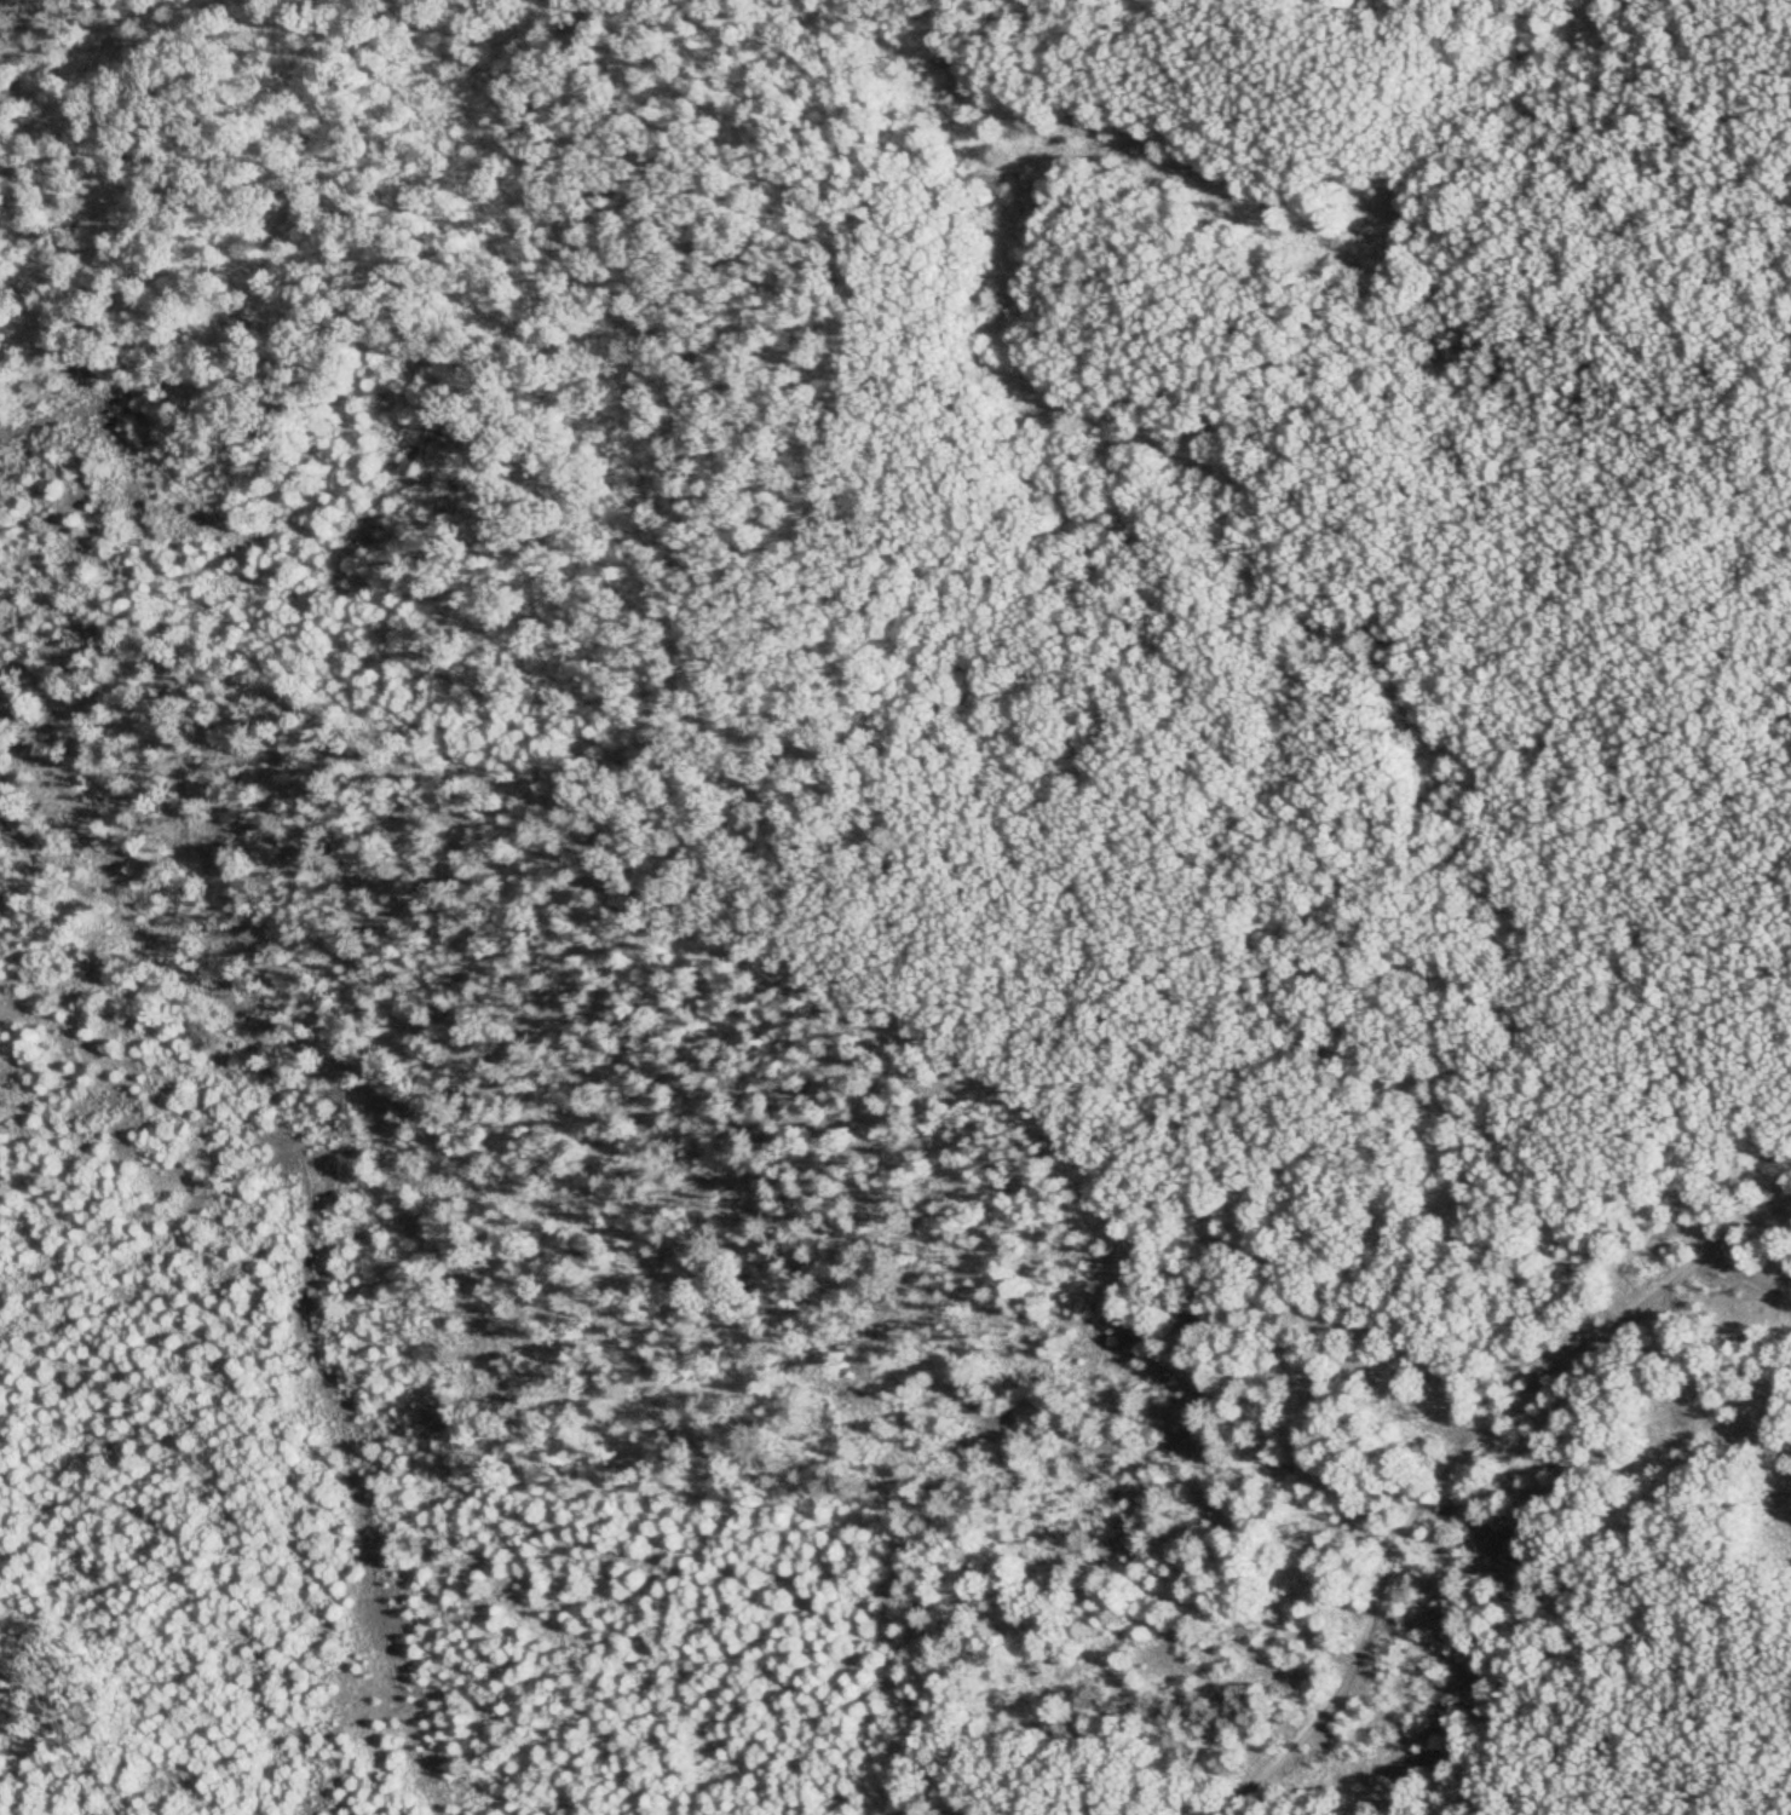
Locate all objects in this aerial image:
road: (1461, 1471)

